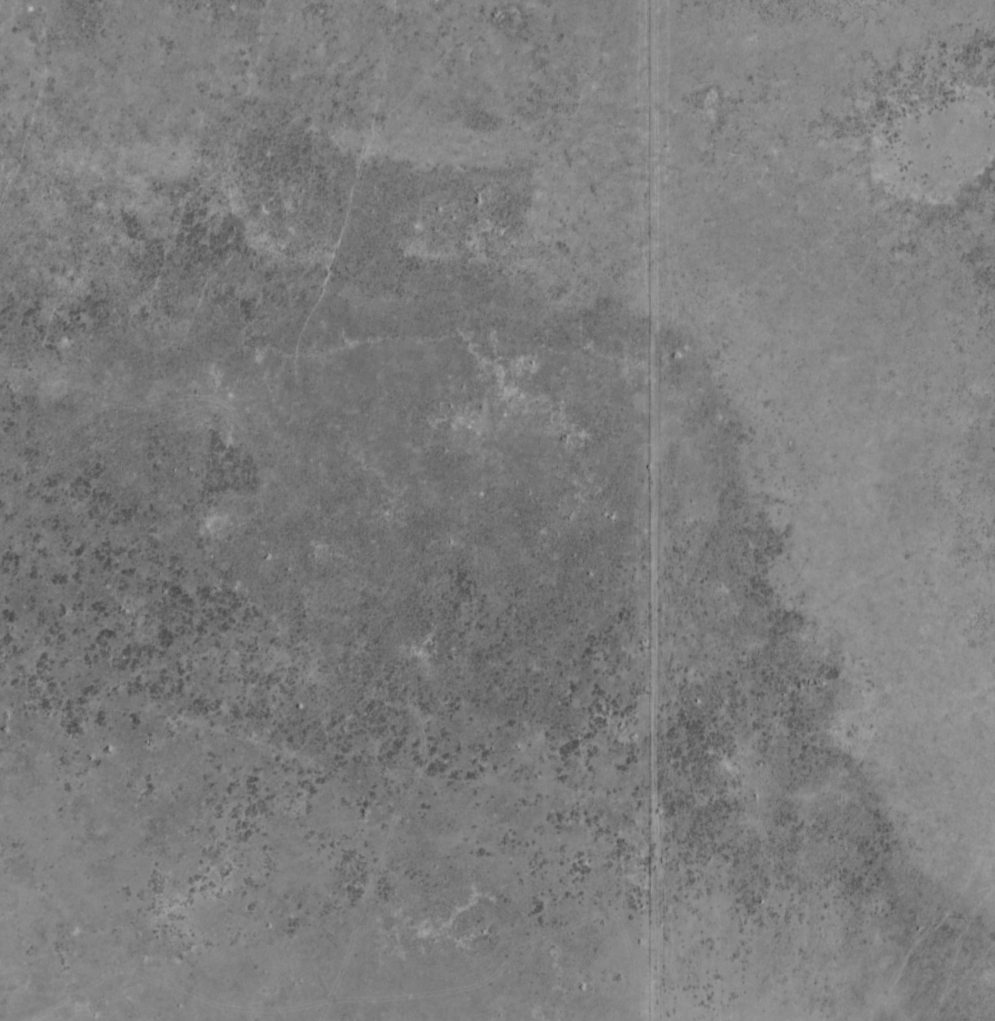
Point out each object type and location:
road: (667, 510)

